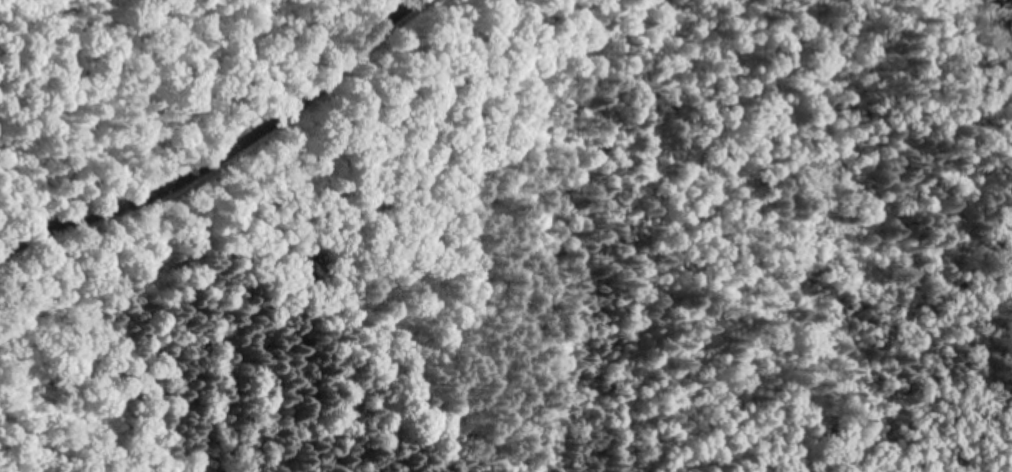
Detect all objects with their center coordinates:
road: (219, 163)

